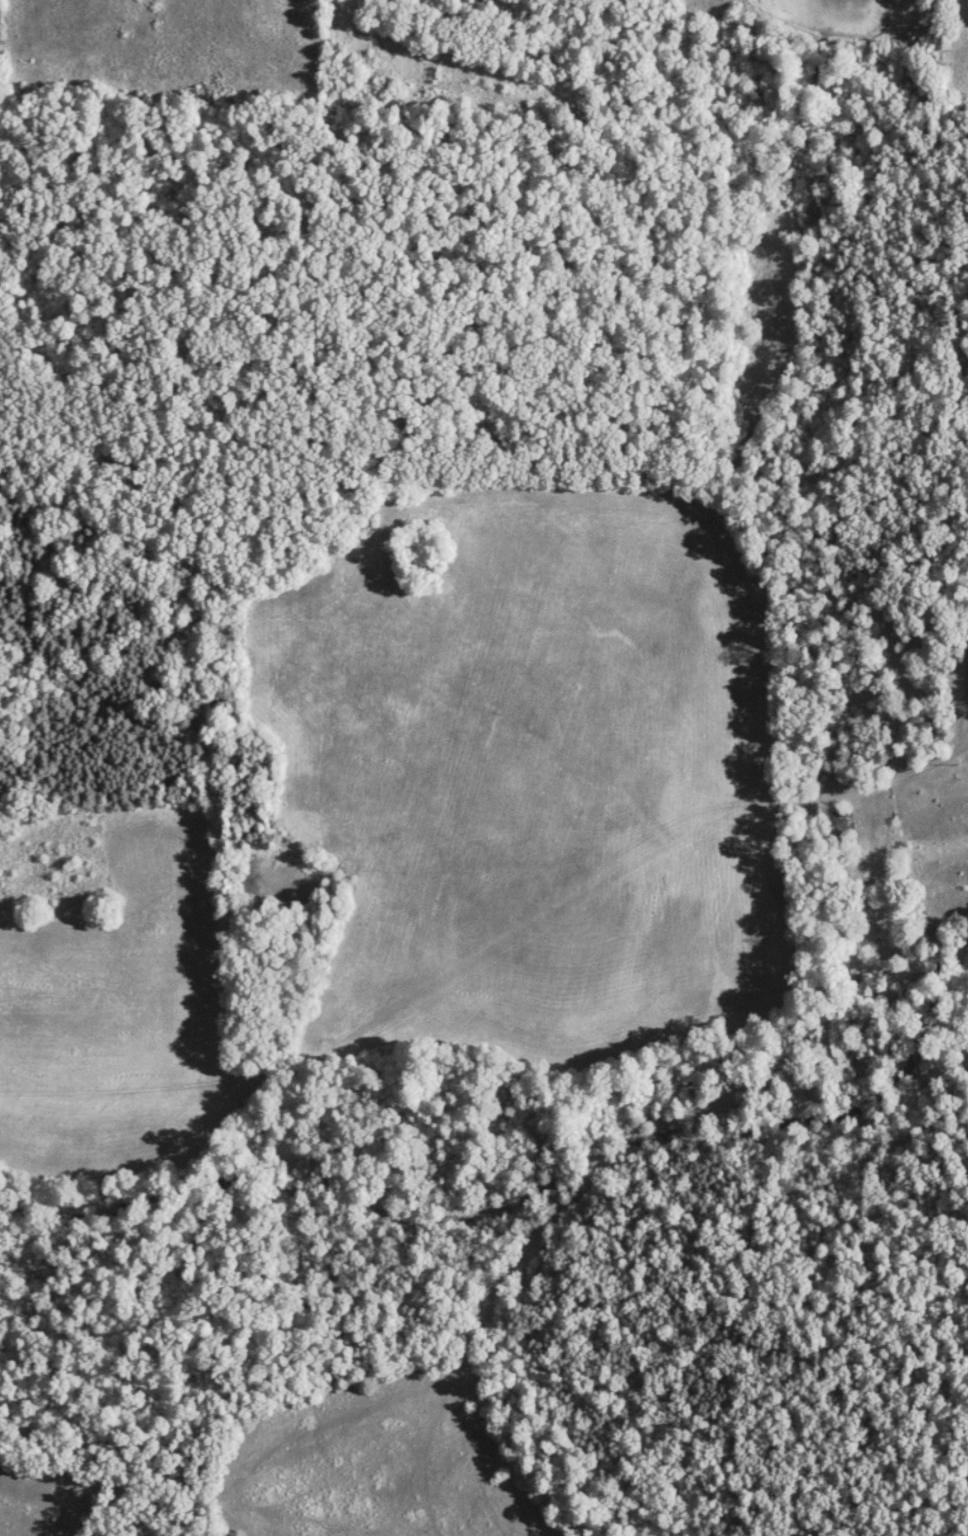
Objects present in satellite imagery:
road: (905, 778)
building: (839, 825)

